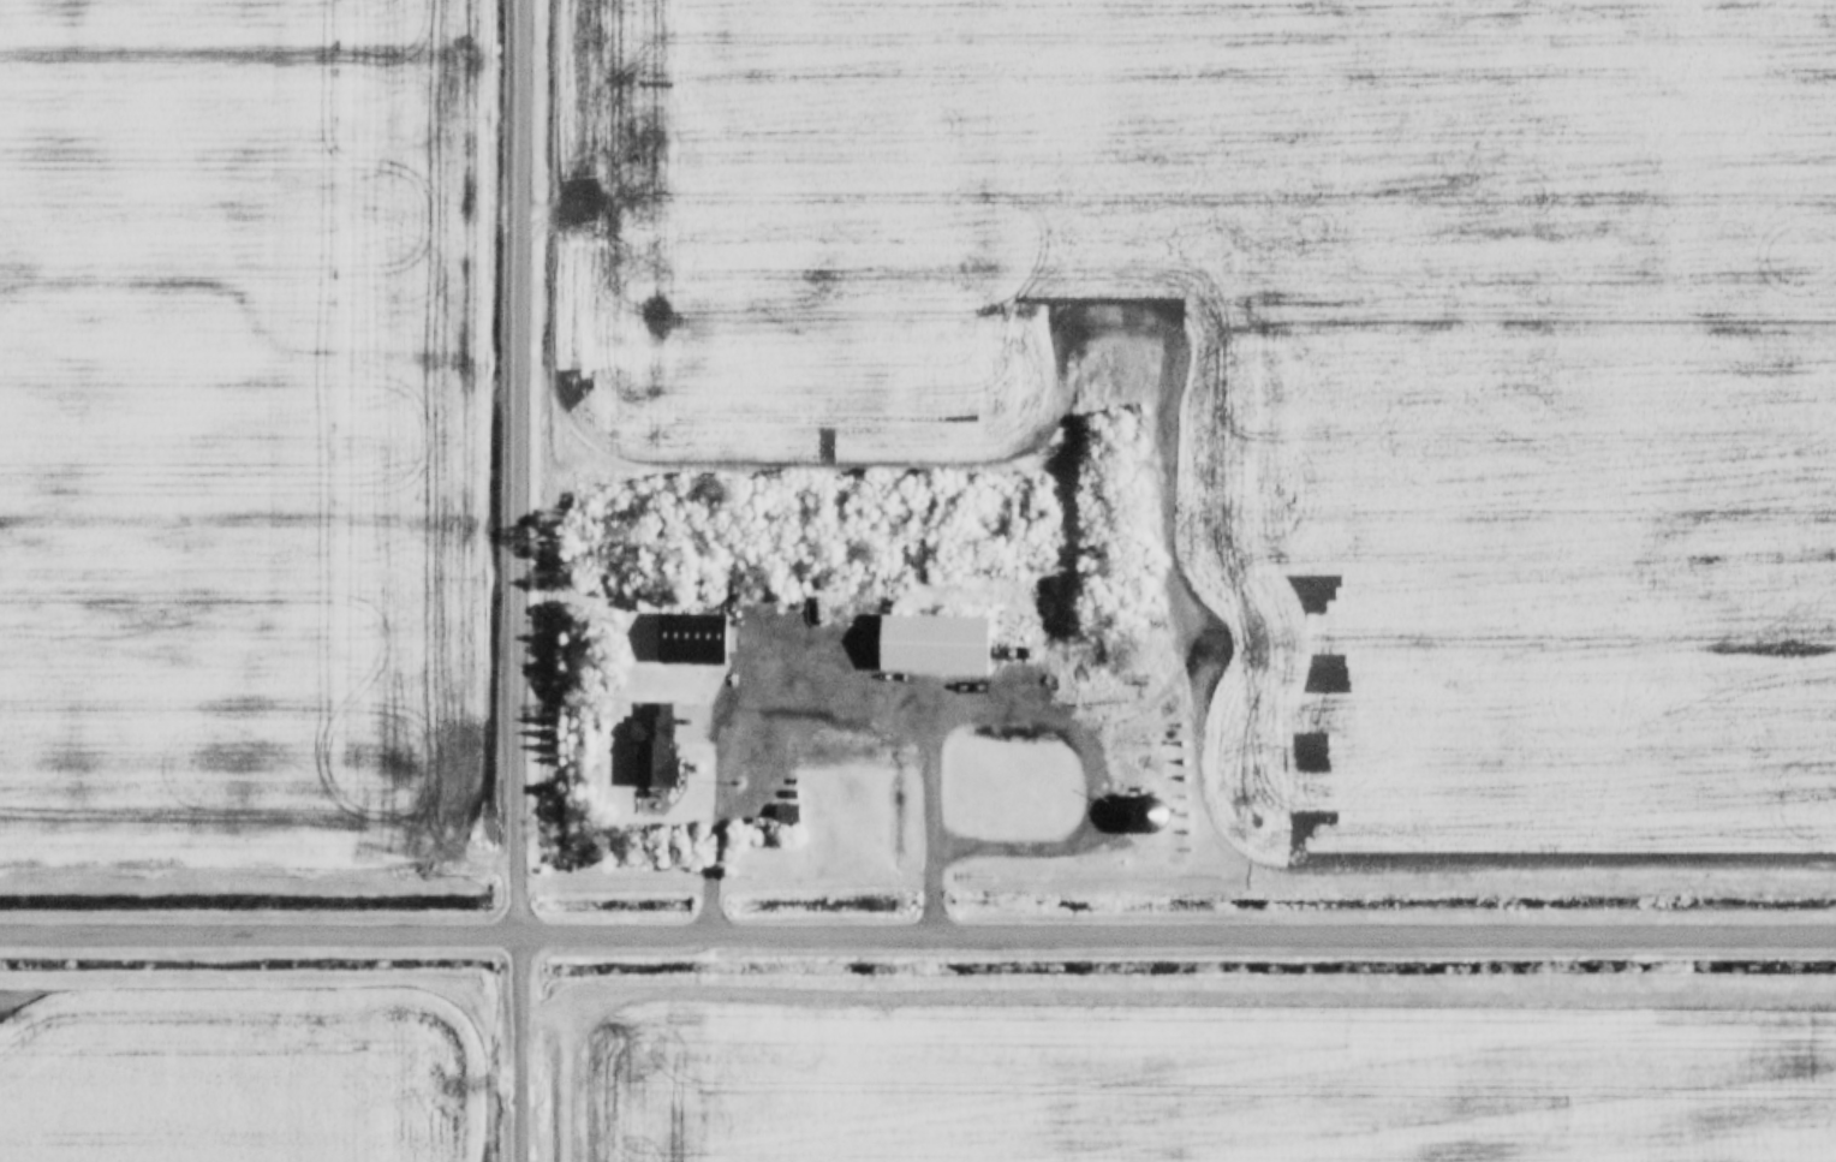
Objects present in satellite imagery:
road: (519, 463)
building: (931, 638)
road: (830, 709)
building: (645, 741)
road: (918, 928)
road: (517, 1044)

